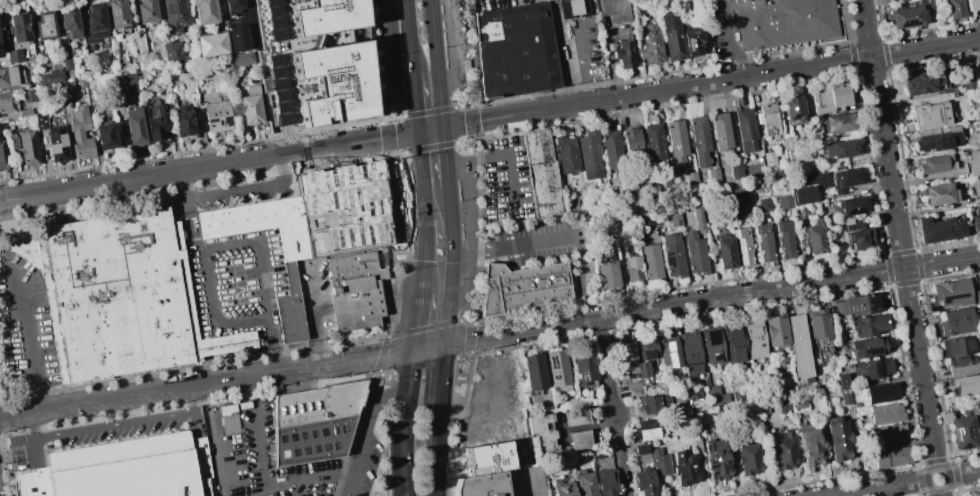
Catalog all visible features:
building: (972, 4)
road: (979, 4)
rooftop solar panel: (171, 6)
building: (232, 6)
building: (574, 7)
building: (954, 9)
building: (617, 10)
building: (146, 11)
building: (204, 11)
building: (117, 13)
building: (174, 15)
building: (906, 17)
rooftop solar panel: (527, 18)
rooftop solar panel: (908, 19)
building: (69, 22)
building: (94, 23)
building: (784, 23)
building: (44, 25)
rooftop solar panel: (504, 26)
building: (18, 27)
parking lot: (723, 28)
road: (409, 36)
building: (673, 37)
building: (237, 38)
building: (140, 41)
road: (727, 41)
parking lot: (456, 42)
building: (649, 43)
building: (211, 44)
building: (694, 45)
road: (435, 46)
parking lot: (390, 48)
road: (453, 48)
road: (396, 50)
building: (516, 51)
building: (623, 52)
building: (171, 53)
rooftop solar panel: (520, 53)
road: (473, 55)
building: (14, 56)
rooftop solar panel: (549, 57)
rooftop solar panel: (498, 58)
building: (237, 60)
building: (66, 62)
building: (134, 62)
building: (314, 62)
road: (373, 63)
building: (121, 64)
rooftop solar panel: (548, 73)
building: (978, 75)
building: (10, 76)
building: (51, 77)
rooftop solar panel: (521, 78)
road: (726, 80)
road: (414, 82)
building: (920, 82)
building: (969, 82)
building: (125, 83)
building: (80, 84)
building: (66, 88)
building: (28, 94)
building: (830, 98)
building: (7, 103)
road: (462, 106)
building: (249, 109)
building: (793, 109)
road: (441, 110)
road: (416, 112)
road: (428, 112)
building: (929, 115)
building: (216, 116)
road: (472, 116)
rooftop solar panel: (211, 118)
rooftop solar panel: (226, 118)
road: (395, 119)
building: (768, 120)
building: (182, 121)
building: (158, 123)
building: (839, 123)
road: (458, 125)
building: (134, 126)
traffic signals: (443, 128)
road: (473, 128)
road: (431, 130)
building: (746, 130)
road: (388, 131)
building: (720, 131)
traffic signals: (419, 132)
building: (80, 133)
road: (404, 135)
building: (105, 136)
building: (53, 139)
building: (935, 139)
building: (699, 140)
road: (465, 141)
building: (632, 141)
building: (12, 142)
building: (653, 142)
building: (677, 143)
building: (787, 143)
road: (389, 144)
road: (443, 144)
building: (28, 147)
road: (429, 147)
building: (838, 149)
road: (420, 150)
building: (611, 150)
road: (397, 153)
building: (566, 154)
road: (508, 155)
building: (588, 156)
building: (2, 157)
building: (768, 157)
building: (972, 161)
road: (453, 164)
building: (935, 164)
road: (194, 169)
building: (734, 171)
road: (446, 174)
building: (713, 174)
building: (543, 175)
building: (690, 179)
building: (845, 179)
parking lot: (506, 181)
building: (668, 184)
building: (809, 187)
road: (248, 189)
building: (975, 190)
road: (424, 194)
building: (937, 194)
building: (738, 201)
building: (784, 201)
parking lot: (404, 204)
building: (763, 204)
building: (852, 205)
road: (406, 206)
building: (342, 209)
road: (469, 209)
building: (674, 217)
building: (697, 218)
building: (975, 221)
building: (938, 229)
road: (482, 230)
road: (898, 234)
building: (856, 235)
road: (437, 237)
building: (814, 238)
building: (784, 239)
road: (552, 241)
parking lot: (543, 242)
building: (763, 243)
road: (393, 244)
building: (741, 246)
road: (461, 252)
road: (474, 252)
road: (426, 253)
building: (695, 253)
building: (724, 253)
building: (673, 255)
rooftop solar panel: (668, 260)
building: (650, 261)
road: (452, 265)
building: (632, 269)
road: (203, 274)
building: (607, 275)
building: (290, 278)
road: (261, 279)
road: (468, 282)
building: (523, 287)
building: (354, 291)
building: (951, 293)
building: (114, 296)
road: (725, 297)
rooftop solar panel: (872, 299)
building: (858, 304)
rooftop solar panel: (850, 307)
road: (319, 316)
road: (420, 317)
road: (466, 322)
building: (956, 322)
building: (867, 324)
building: (816, 326)
parking lot: (24, 327)
road: (423, 329)
building: (774, 331)
road: (470, 332)
building: (754, 339)
road: (458, 340)
road: (29, 342)
building: (733, 343)
road: (469, 344)
road: (431, 345)
rooftop solar panel: (668, 345)
building: (712, 346)
building: (798, 346)
building: (957, 346)
road: (386, 347)
building: (866, 347)
building: (645, 348)
rooftop solar panel: (871, 349)
road: (400, 351)
rooftop solar panel: (647, 351)
building: (668, 351)
building: (690, 352)
road: (463, 356)
building: (625, 357)
rooftop solar panel: (671, 358)
road: (382, 361)
road: (424, 364)
building: (960, 365)
building: (585, 366)
rooftop solar panel: (876, 367)
building: (642, 368)
road: (413, 369)
rooftop solar panel: (860, 369)
building: (870, 369)
building: (558, 371)
building: (534, 372)
road: (386, 374)
road: (442, 382)
building: (964, 385)
road: (192, 386)
road: (381, 386)
building: (633, 389)
building: (843, 389)
building: (782, 390)
building: (692, 393)
building: (882, 393)
road: (384, 396)
building: (716, 396)
building: (664, 400)
building: (799, 403)
building: (650, 404)
building: (784, 405)
road: (612, 407)
building: (886, 413)
building: (575, 417)
building: (228, 419)
building: (315, 422)
road: (459, 422)
road: (126, 423)
road: (32, 426)
rooftop solar panel: (342, 426)
road: (579, 427)
rooftop solar panel: (331, 429)
building: (645, 429)
road: (355, 430)
road: (366, 430)
rooftop solar panel: (953, 430)
building: (544, 431)
rooftop solar panel: (322, 432)
building: (962, 432)
rooftop solar panel: (312, 433)
building: (891, 434)
parking lot: (92, 435)
rooftop solar panel: (304, 435)
rooftop solar panel: (291, 437)
rooftop solar panel: (279, 439)
building: (579, 439)
building: (840, 439)
road: (405, 440)
building: (811, 444)
rooftop solar panel: (333, 445)
rooftop solar panel: (965, 445)
rooftop solar panel: (321, 446)
building: (697, 446)
rooftop solar panel: (706, 446)
rooftop solar panel: (315, 448)
road: (264, 449)
building: (639, 449)
building: (784, 449)
rooftop solar panel: (291, 450)
rooftop solar panel: (304, 450)
road: (387, 452)
road: (217, 453)
building: (599, 453)
building: (892, 456)
building: (643, 458)
building: (749, 458)
road: (435, 459)
building: (486, 459)
building: (716, 459)
rooftop solar panel: (723, 460)
building: (659, 462)
rooftop solar panel: (711, 464)
parking lot: (363, 465)
building: (684, 465)
building: (125, 469)
rooftop solar panel: (711, 472)
road: (947, 473)
road: (964, 474)
road: (306, 482)
building: (583, 482)
building: (605, 482)
building: (643, 482)
building: (502, 483)
building: (563, 486)
road: (880, 488)
traffic signals: (405, 490)
road: (940, 492)
road: (404, 493)
road: (406, 493)
building: (973, 493)
traffic signals: (435, 495)

